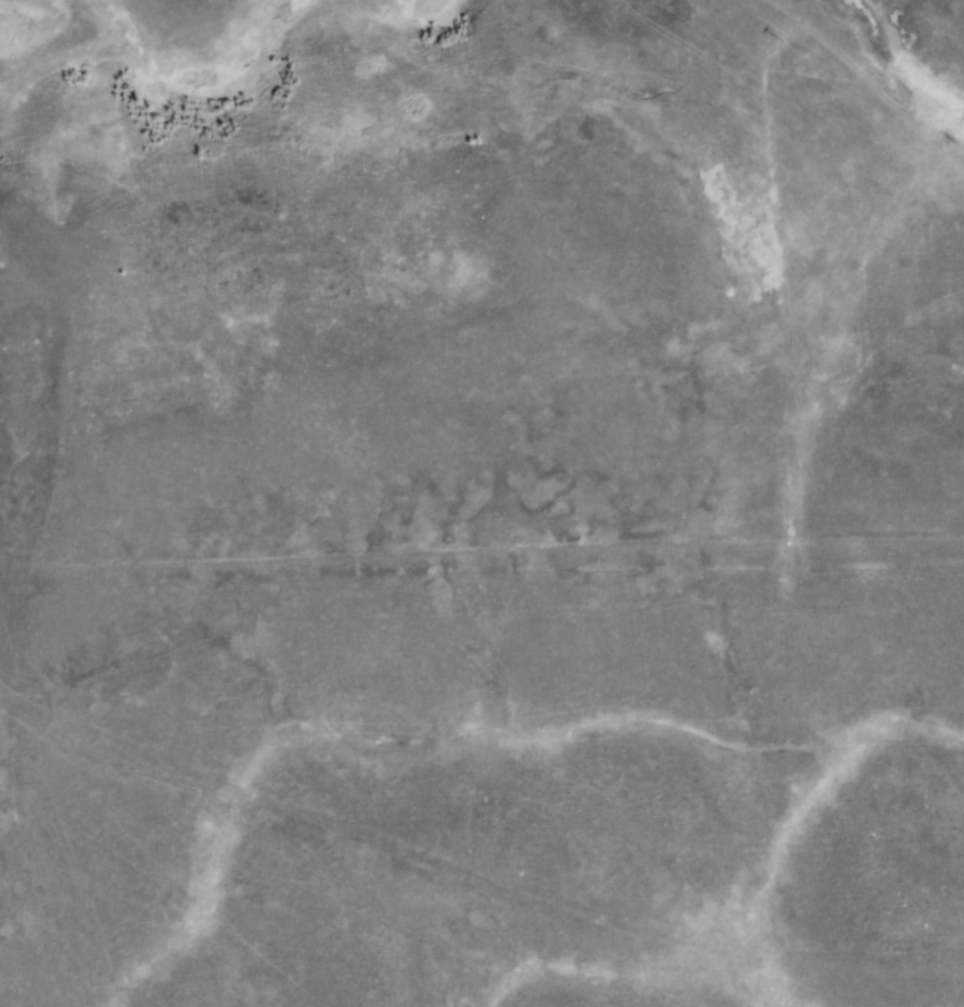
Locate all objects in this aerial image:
road: (862, 80)

